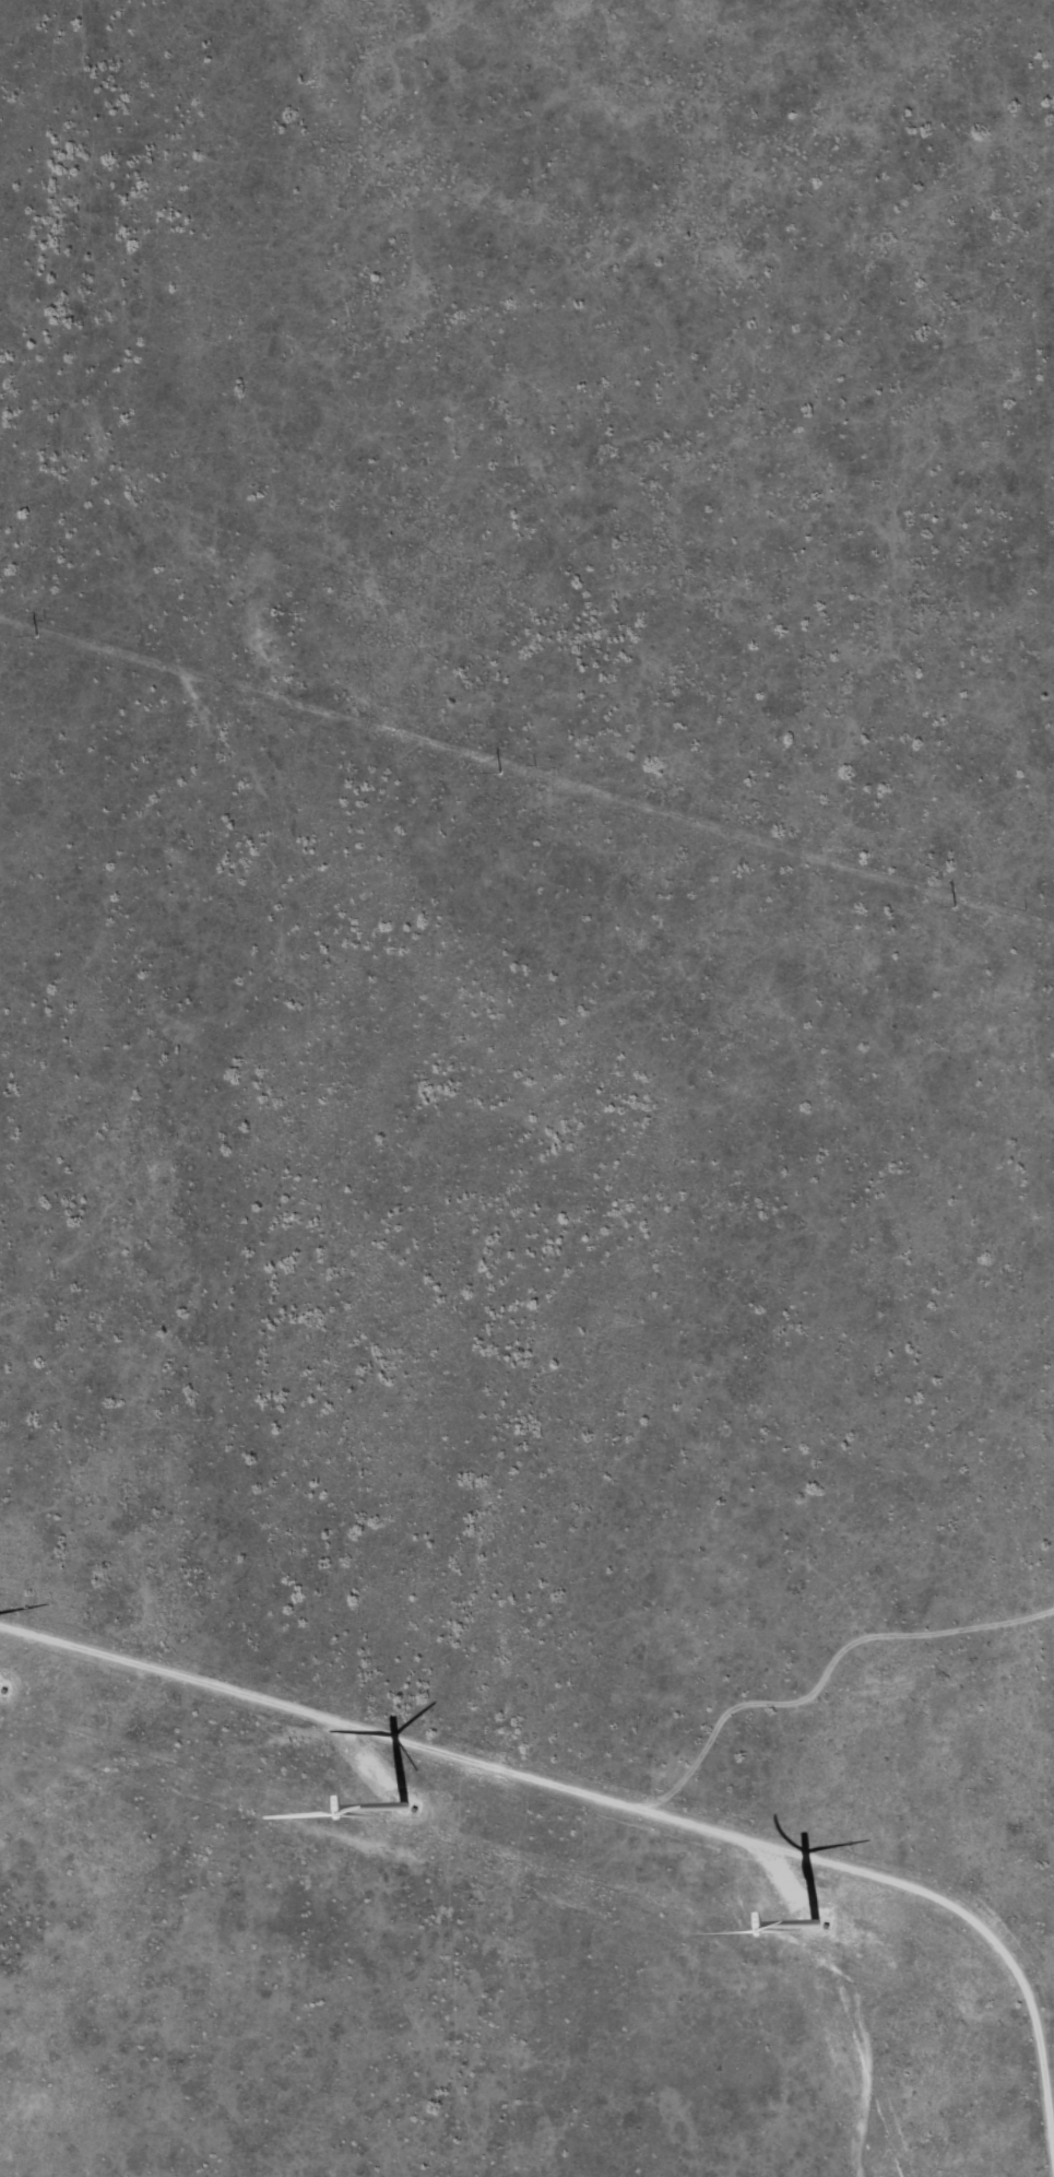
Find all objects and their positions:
power tower: (37, 636)
power tower: (501, 774)
power tower: (956, 906)
wind turbine: (390, 1787)
wind turbine: (810, 1932)

